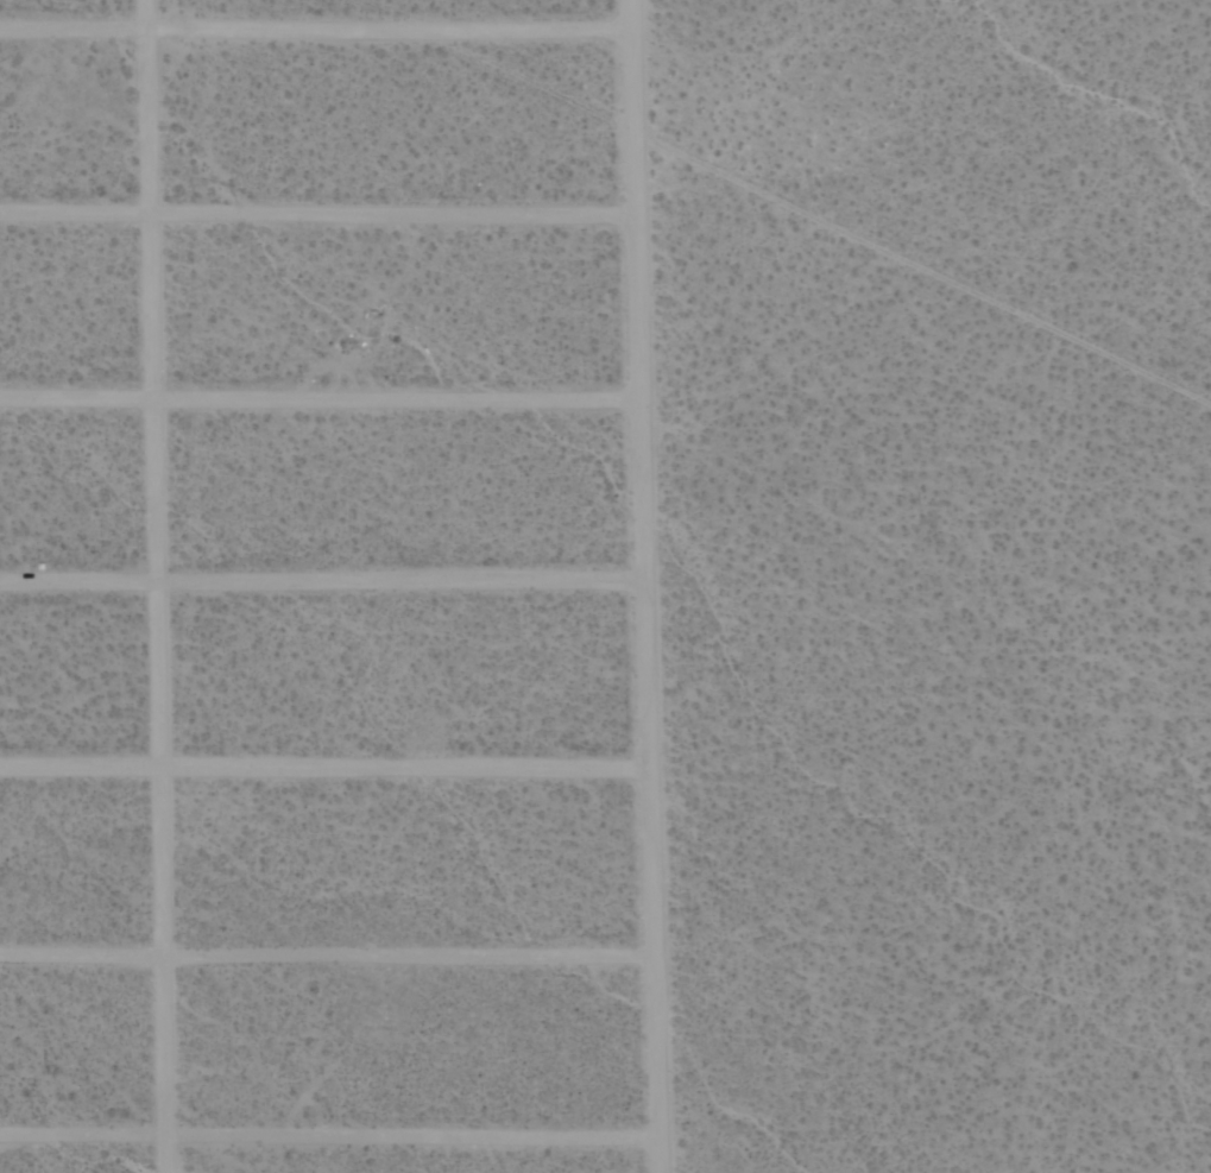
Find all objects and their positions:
road: (316, 30)
road: (317, 216)
road: (318, 401)
road: (321, 582)
road: (158, 586)
road: (644, 586)
road: (324, 768)
road: (327, 958)
road: (329, 1137)

